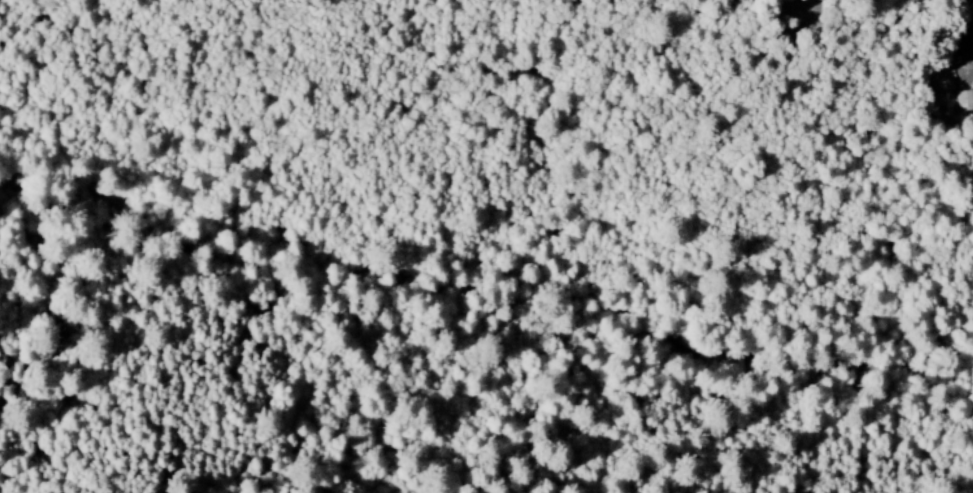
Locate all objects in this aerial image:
building: (959, 48)
building: (963, 101)

